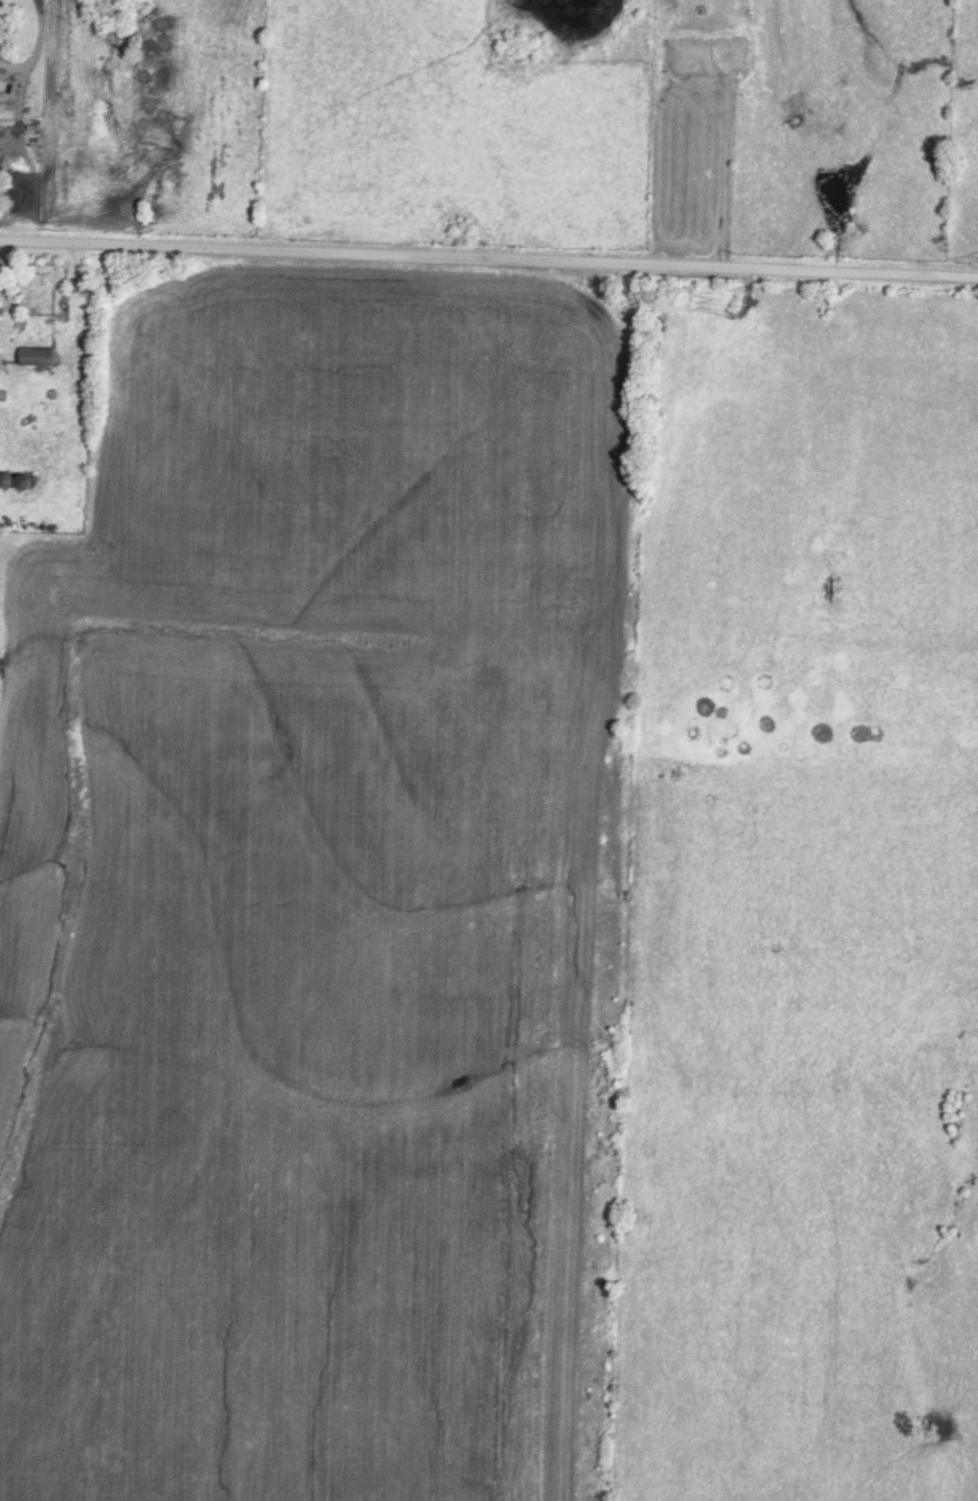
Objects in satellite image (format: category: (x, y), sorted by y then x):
road: (30, 40)
road: (489, 251)
building: (9, 479)

